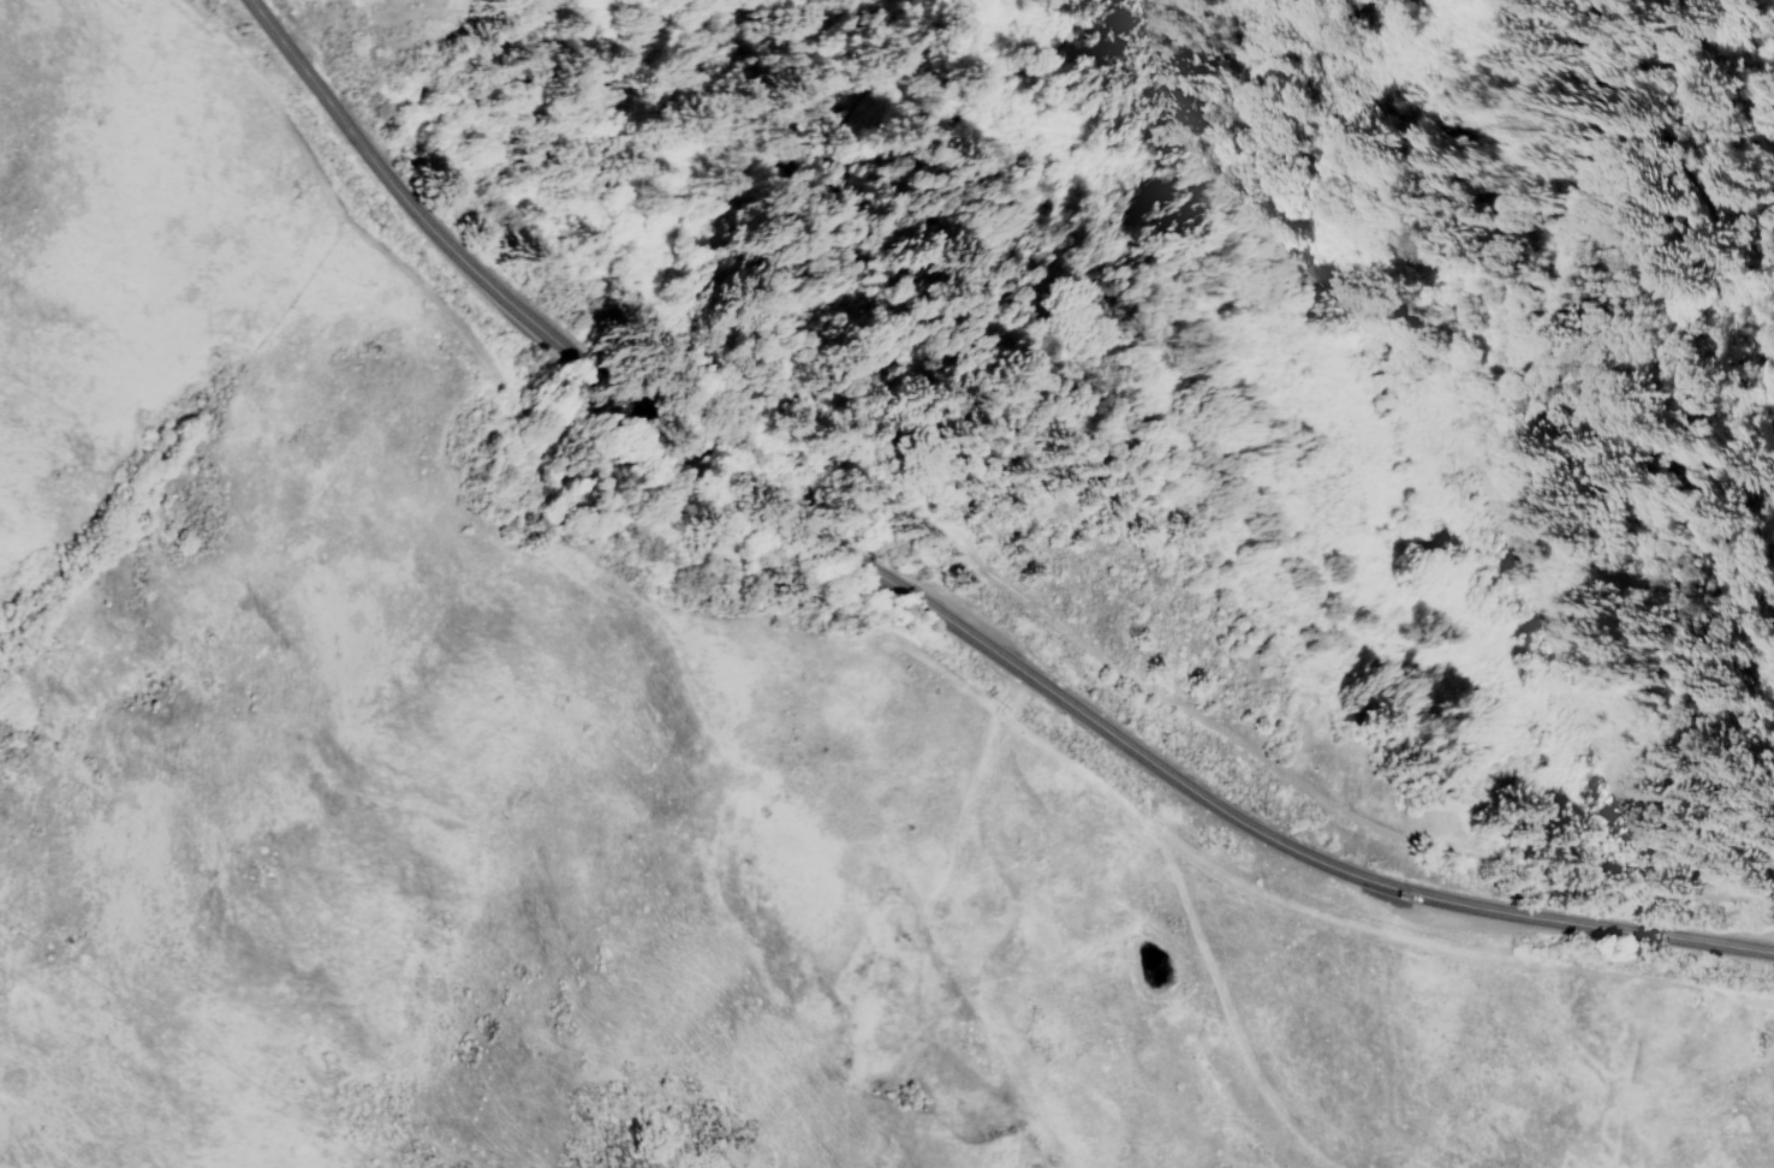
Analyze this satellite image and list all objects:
road: (880, 81)
road: (1560, 113)
road: (936, 609)

